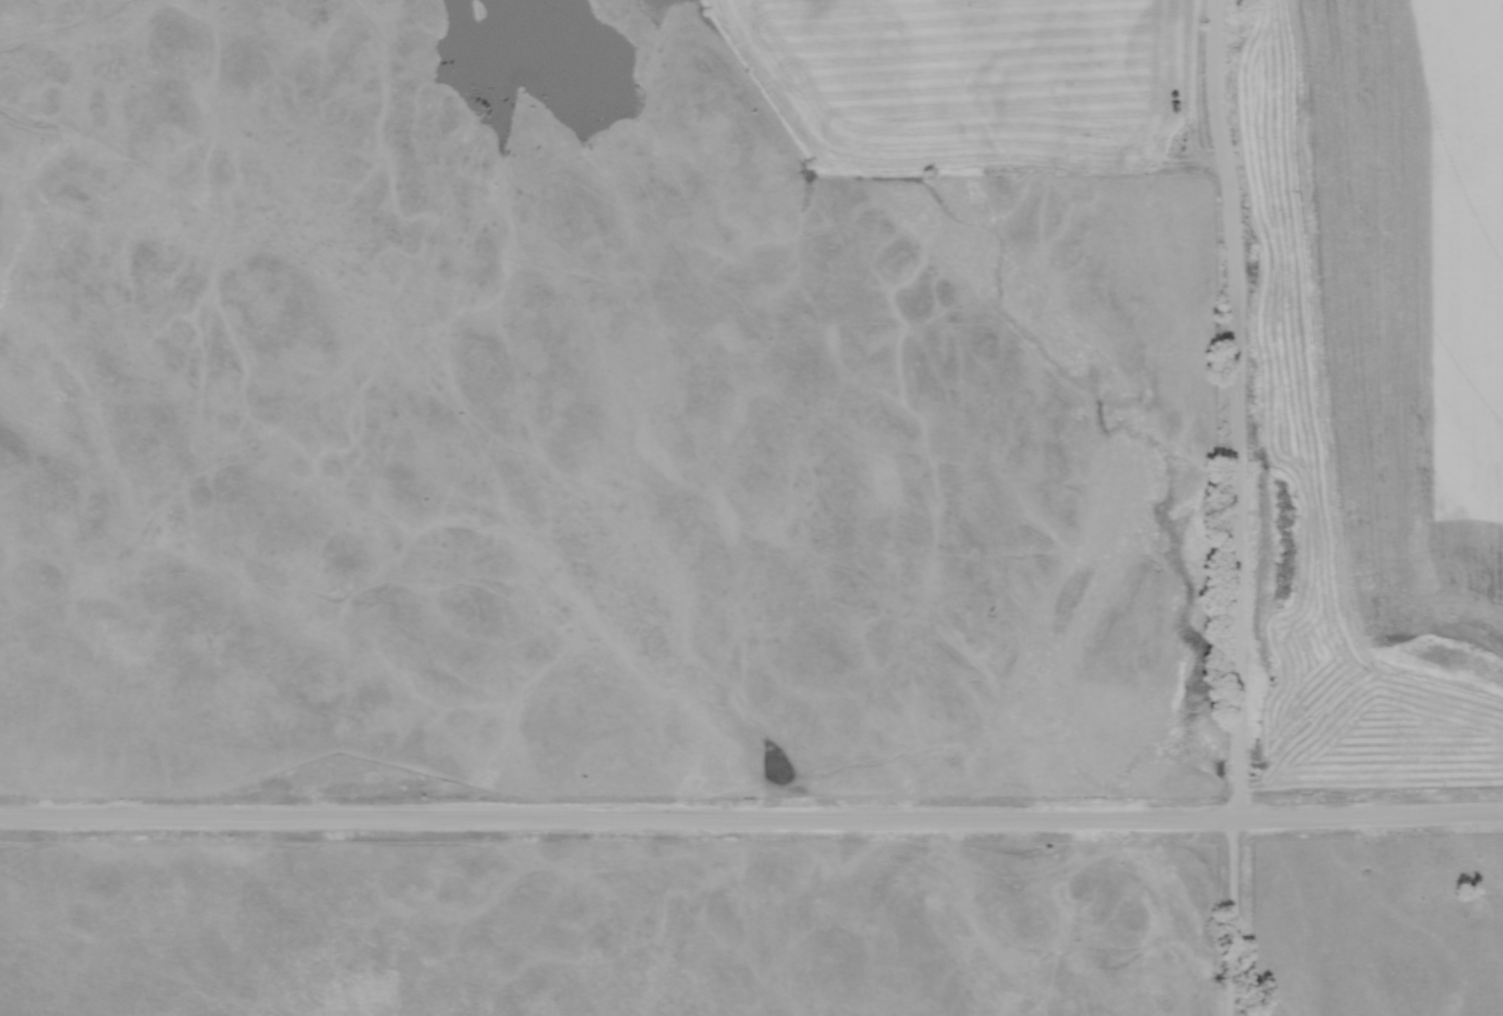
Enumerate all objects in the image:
road: (1235, 507)
road: (751, 821)

